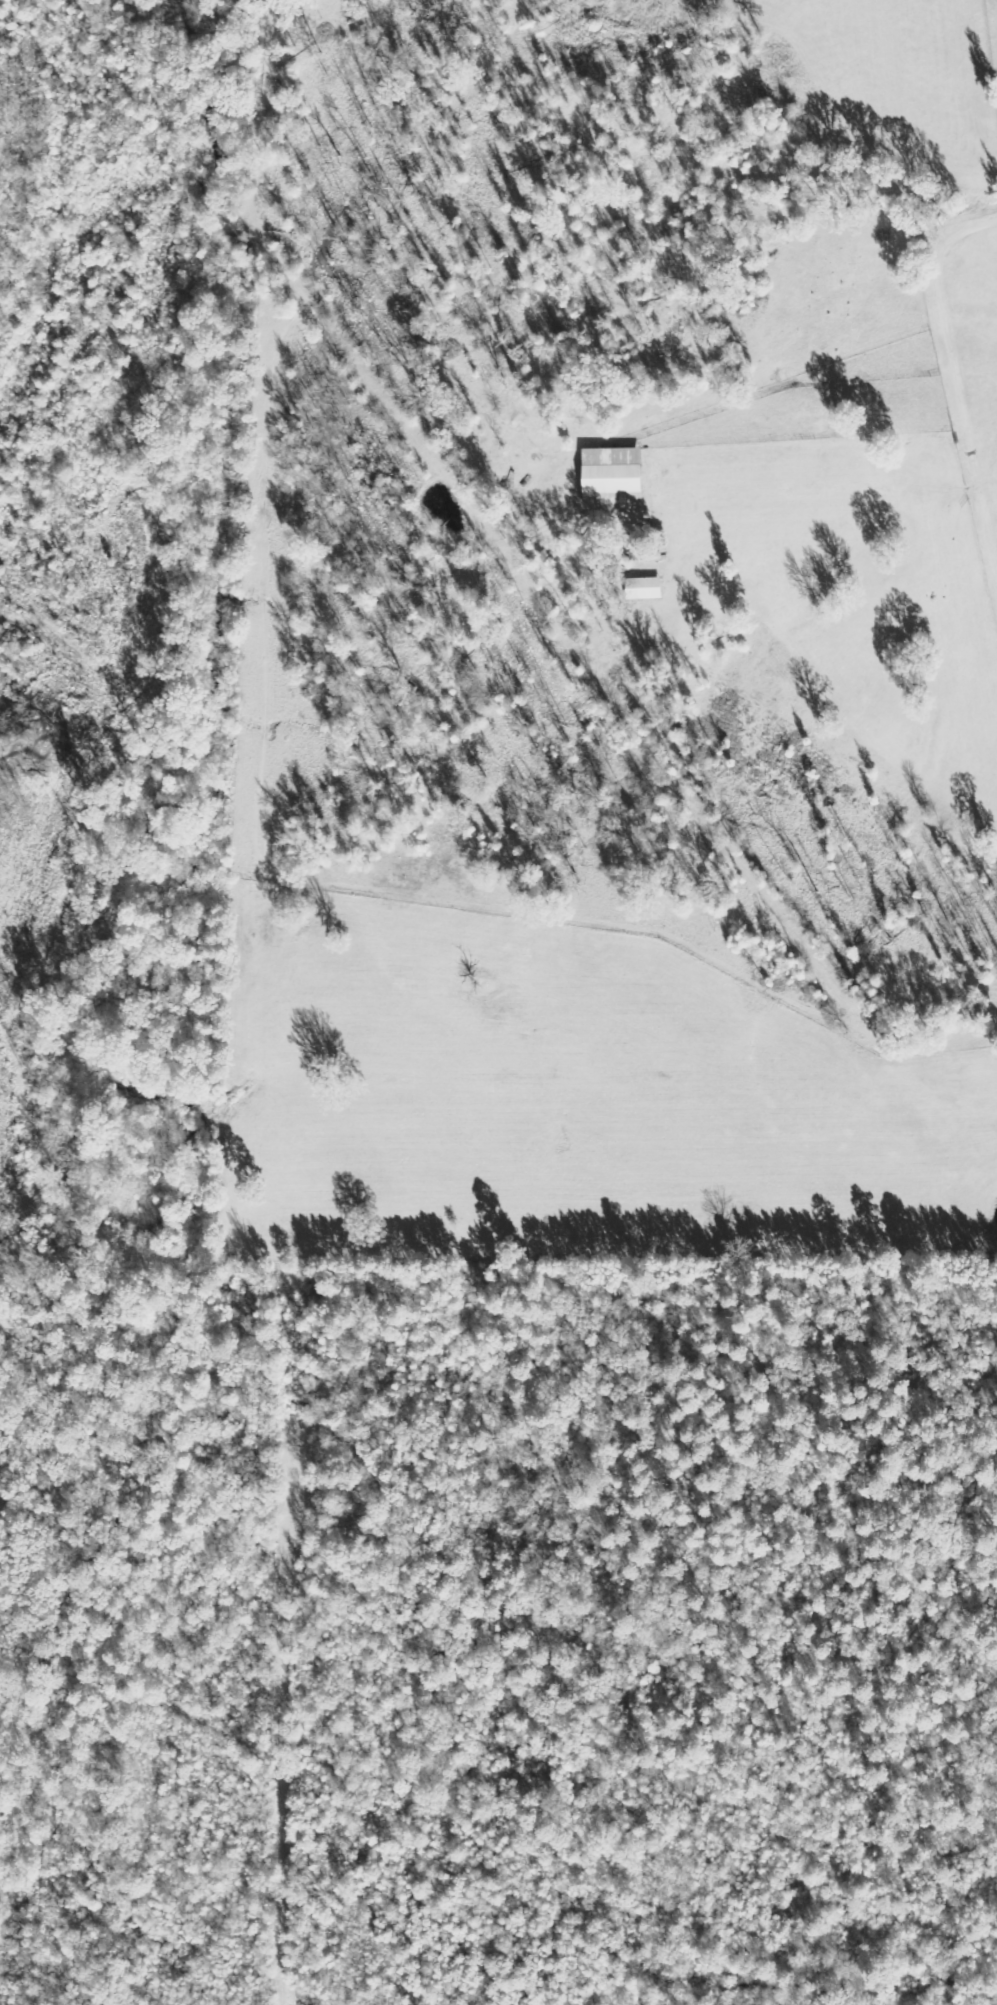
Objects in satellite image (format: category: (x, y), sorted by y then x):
road: (953, 377)
building: (641, 588)

